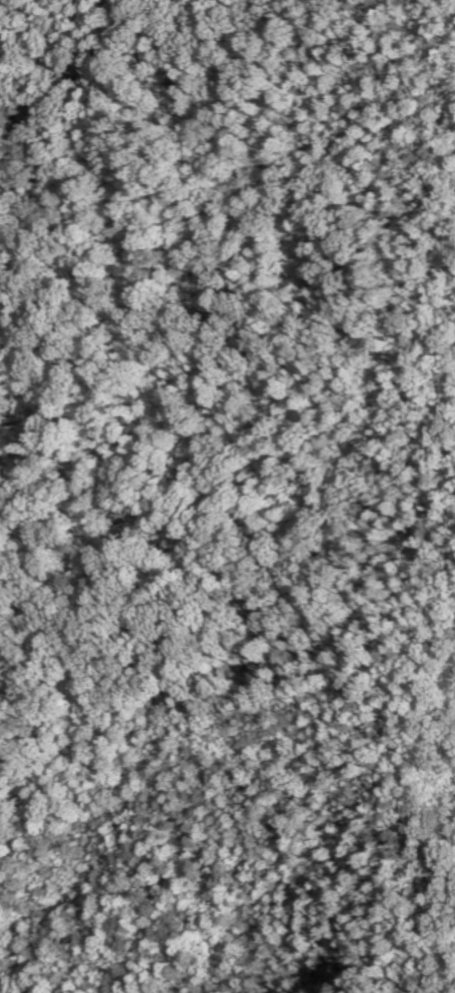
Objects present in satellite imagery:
road: (437, 503)

